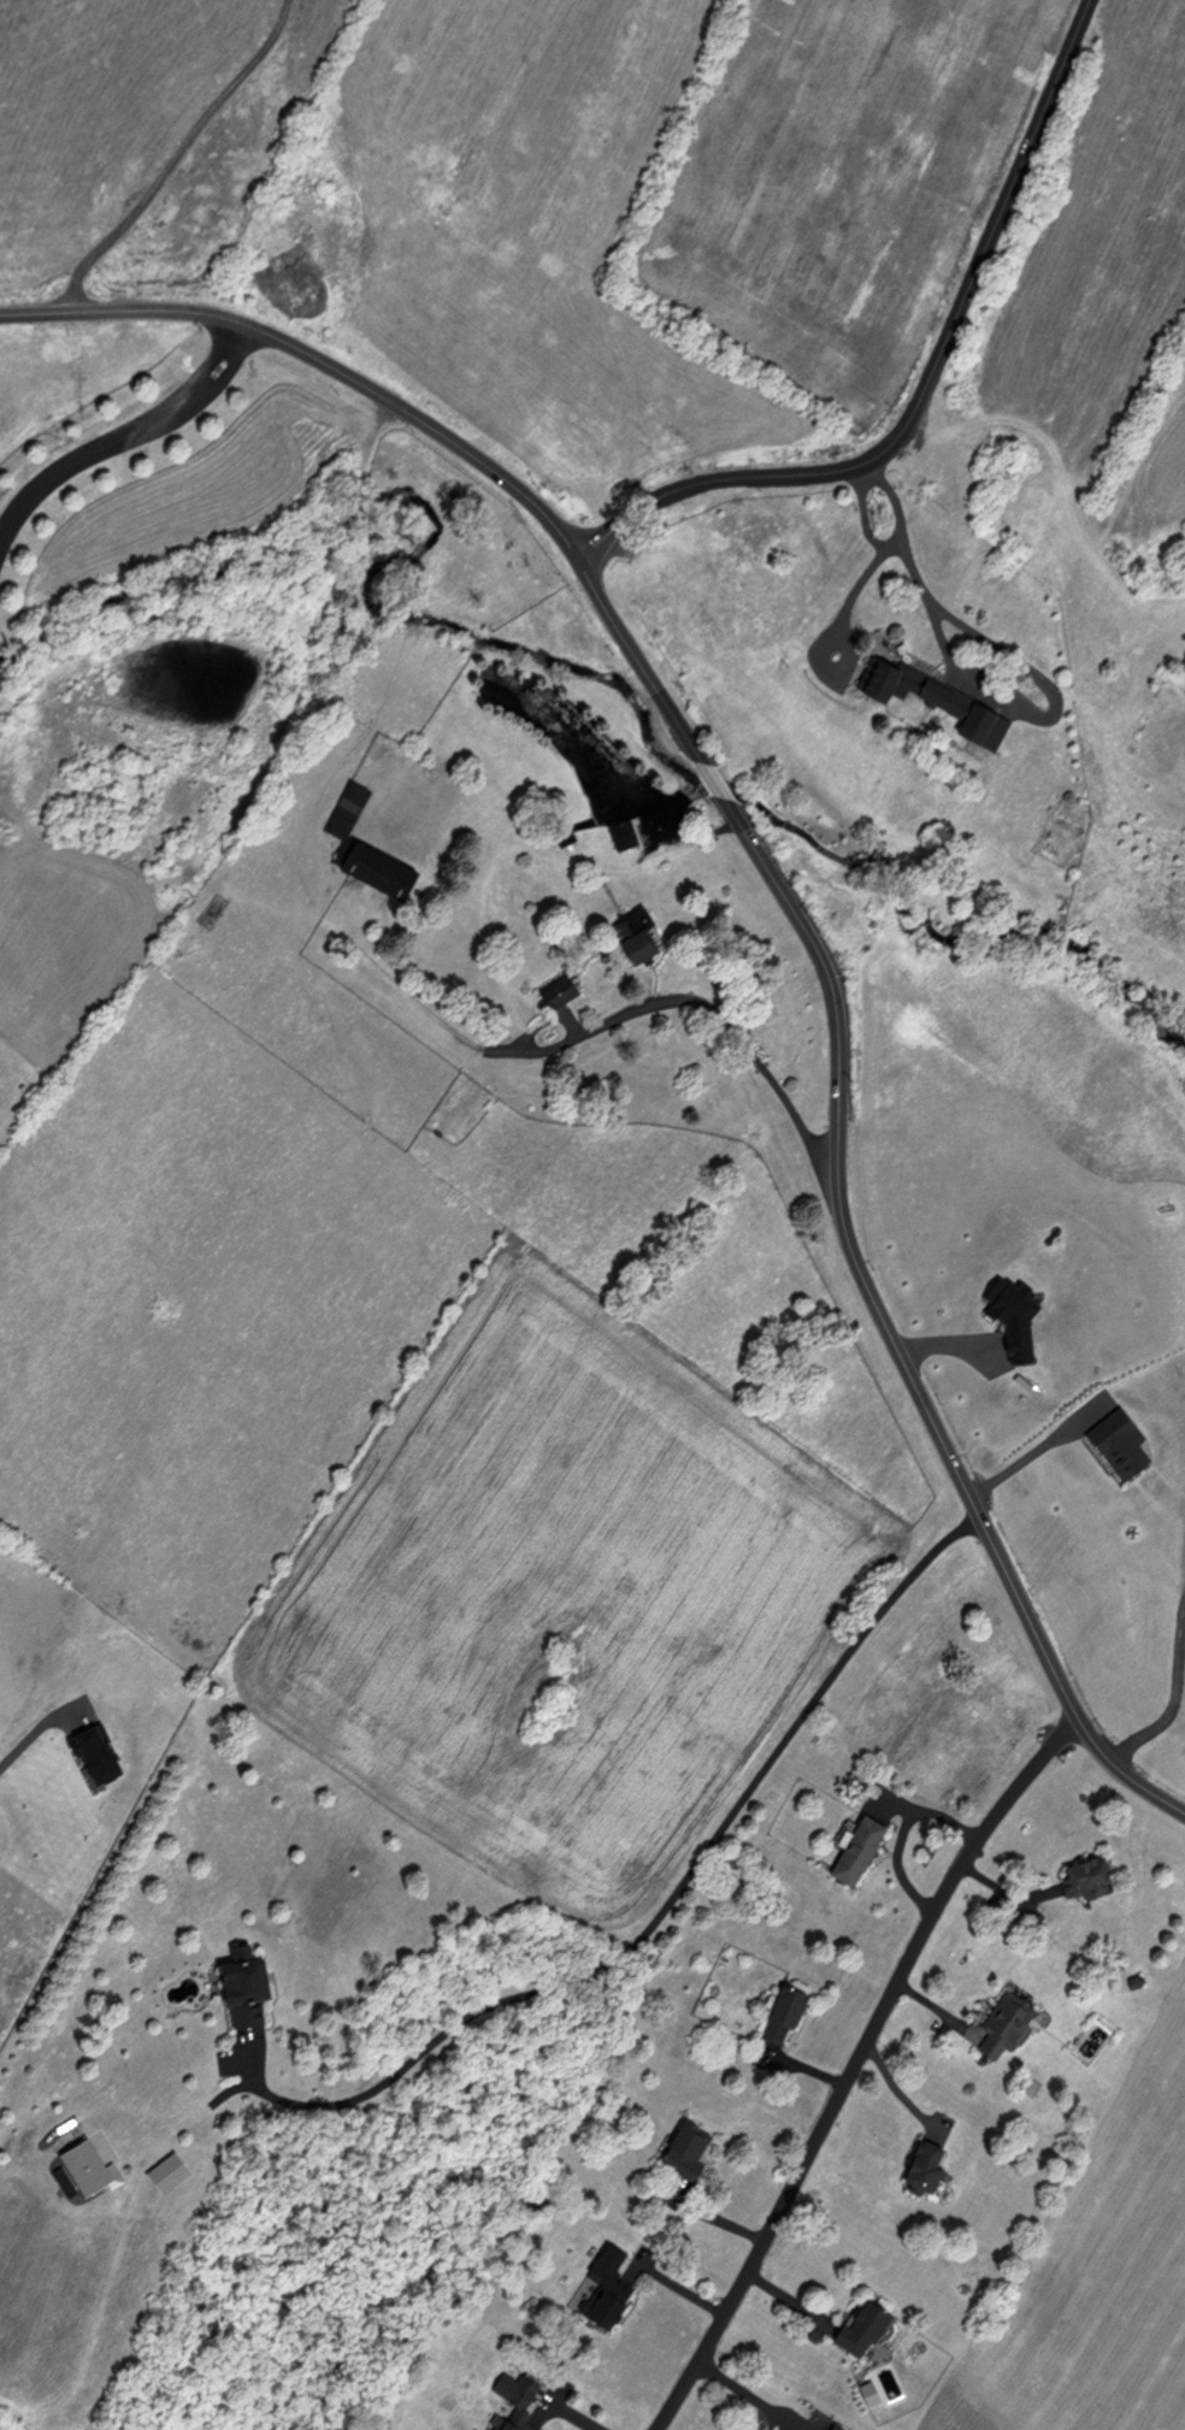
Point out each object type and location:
road: (175, 154)
road: (926, 382)
road: (417, 414)
road: (126, 431)
road: (890, 544)
road: (931, 609)
road: (839, 630)
road: (711, 774)
building: (566, 832)
building: (624, 833)
building: (362, 845)
road: (595, 895)
building: (632, 938)
building: (556, 991)
road: (890, 1331)
road: (1132, 1405)
road: (1177, 1693)
building: (855, 1847)
building: (1086, 1874)
road: (667, 1904)
building: (237, 1986)
building: (783, 2015)
building: (1000, 2023)
road: (855, 2064)
building: (684, 2149)
building: (73, 2161)
building: (919, 2164)
building: (859, 2325)
road: (748, 2395)
road: (562, 2410)
building: (508, 2422)

